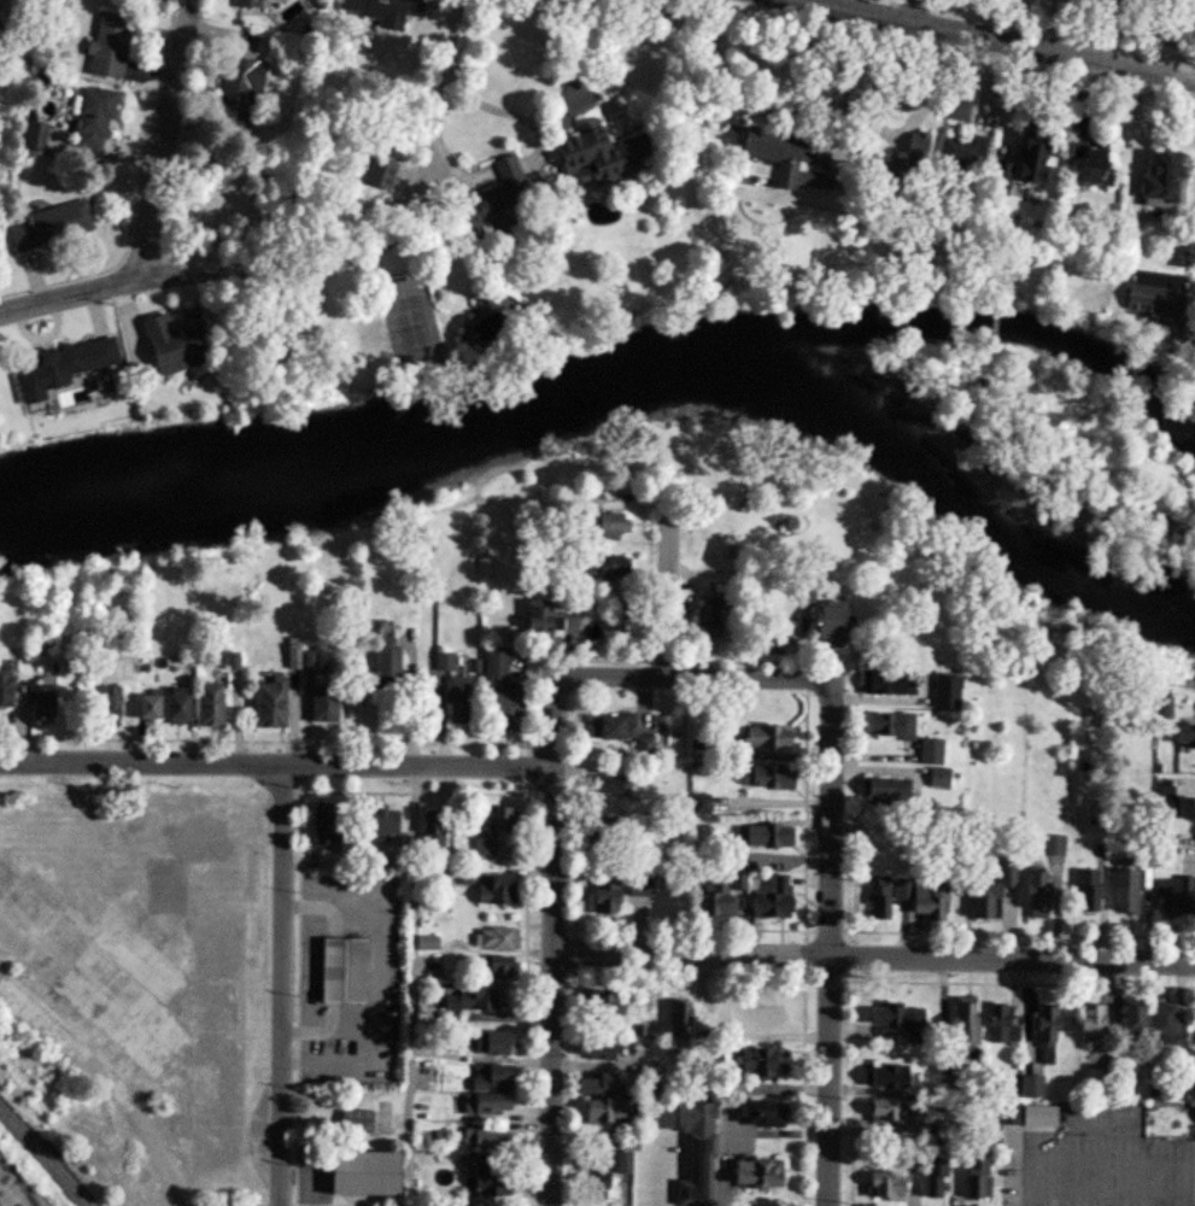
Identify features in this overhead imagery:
building: (246, 4)
building: (381, 10)
road: (921, 14)
road: (989, 42)
building: (107, 46)
road: (597, 51)
building: (238, 88)
building: (957, 109)
building: (93, 119)
road: (784, 123)
road: (164, 141)
building: (915, 145)
building: (961, 153)
building: (1029, 153)
building: (601, 154)
building: (785, 158)
building: (1088, 162)
building: (879, 174)
building: (997, 178)
building: (1158, 178)
building: (499, 201)
building: (52, 226)
road: (326, 262)
building: (1158, 289)
building: (175, 340)
building: (70, 364)
river: (622, 375)
building: (603, 526)
building: (599, 564)
road: (667, 585)
building: (707, 617)
building: (539, 619)
building: (827, 621)
building: (387, 660)
building: (496, 663)
road: (645, 677)
building: (881, 681)
building: (5, 685)
building: (943, 692)
building: (43, 695)
building: (457, 701)
building: (268, 703)
building: (322, 703)
building: (105, 704)
building: (209, 704)
building: (175, 706)
building: (146, 708)
building: (504, 708)
building: (888, 725)
building: (611, 726)
building: (768, 736)
building: (1183, 736)
building: (644, 745)
building: (931, 751)
road: (275, 765)
building: (767, 775)
building: (938, 777)
building: (610, 785)
building: (886, 788)
building: (1170, 801)
building: (379, 822)
building: (322, 827)
building: (485, 827)
building: (427, 829)
building: (757, 837)
building: (634, 885)
building: (486, 891)
building: (1082, 892)
building: (1118, 894)
building: (1029, 895)
building: (984, 896)
building: (598, 897)
building: (1173, 897)
building: (716, 898)
building: (766, 900)
building: (869, 900)
building: (918, 901)
building: (491, 941)
road: (825, 943)
building: (423, 946)
road: (871, 959)
building: (492, 970)
building: (334, 972)
road: (276, 985)
road: (546, 985)
building: (475, 999)
building: (750, 1017)
building: (877, 1018)
building: (1191, 1018)
building: (673, 1019)
building: (1125, 1021)
building: (957, 1023)
building: (995, 1025)
building: (1084, 1026)
building: (1160, 1026)
building: (1038, 1031)
building: (486, 1042)
building: (591, 1049)
building: (746, 1062)
building: (879, 1075)
building: (484, 1077)
building: (1189, 1079)
building: (592, 1083)
building: (1027, 1087)
building: (479, 1103)
building: (883, 1108)
building: (596, 1111)
building: (751, 1112)
building: (1030, 1116)
building: (1194, 1116)
building: (351, 1120)
building: (480, 1138)
building: (686, 1141)
railway: (41, 1159)
building: (617, 1163)
building: (355, 1172)
building: (748, 1172)
building: (925, 1175)
building: (968, 1176)
building: (486, 1181)
building: (592, 1184)
building: (878, 1184)
building: (14, 1190)

